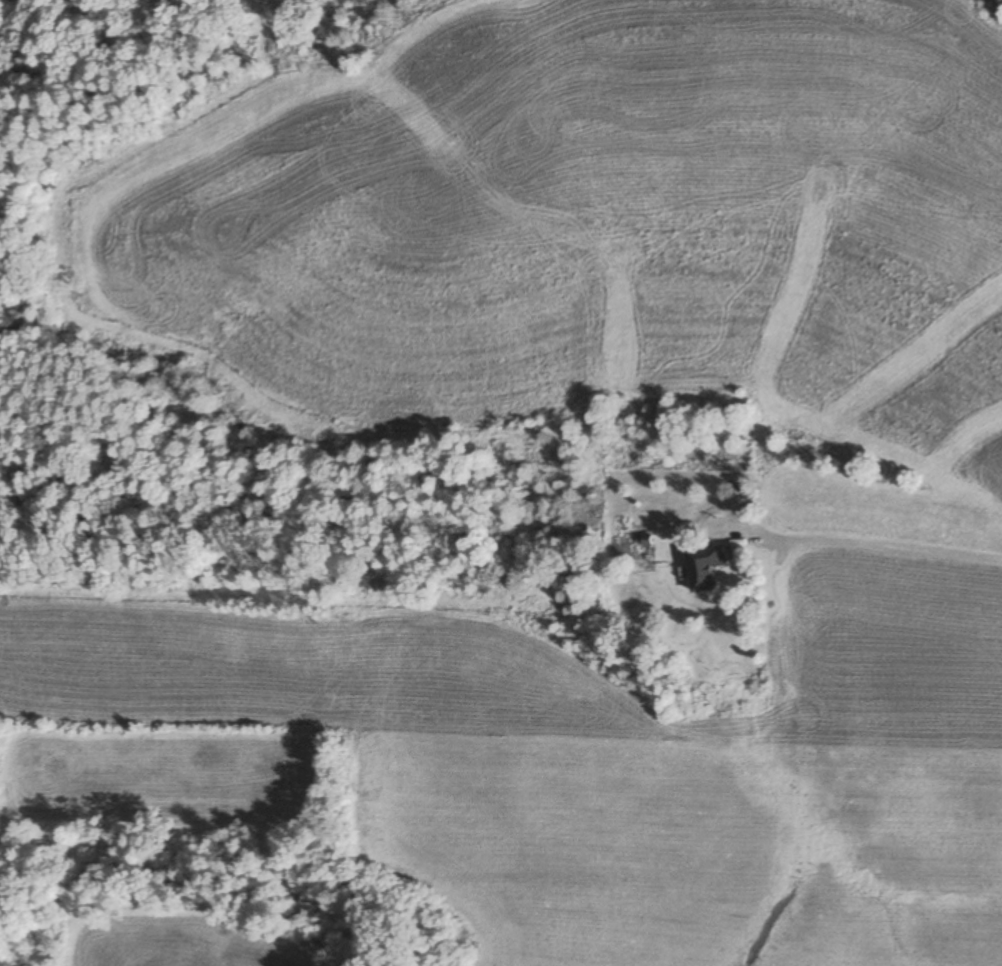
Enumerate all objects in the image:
road: (869, 541)
building: (703, 567)

